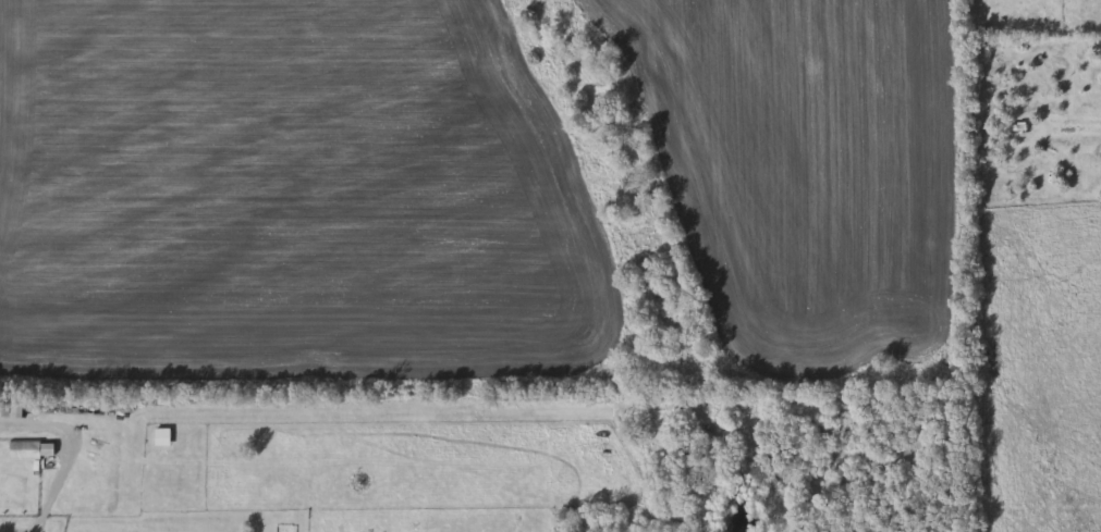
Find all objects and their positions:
building: (5, 409)
building: (27, 451)
road: (65, 465)
road: (38, 531)

